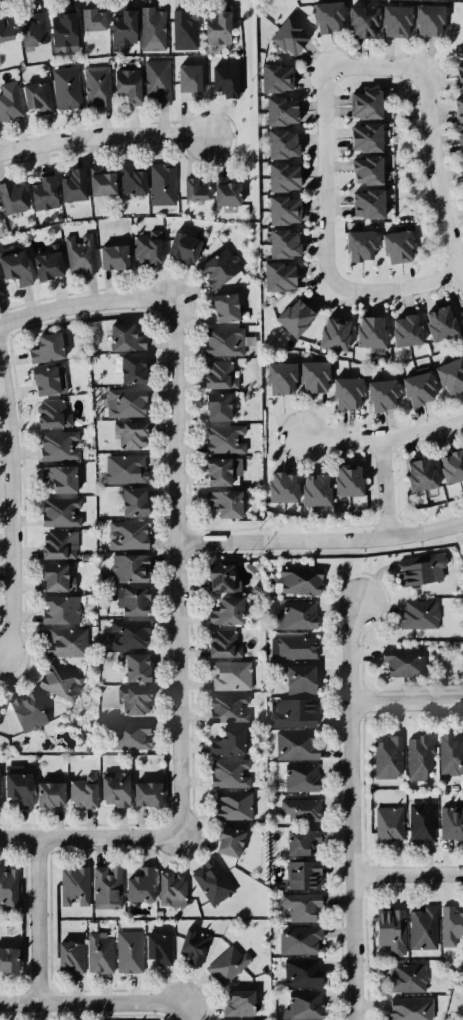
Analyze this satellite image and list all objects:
building: (323, 16)
building: (358, 18)
building: (391, 19)
building: (424, 19)
building: (89, 20)
building: (119, 26)
building: (4, 28)
building: (29, 29)
building: (59, 29)
building: (150, 29)
building: (185, 29)
building: (219, 29)
park: (453, 29)
building: (287, 35)
road: (371, 68)
building: (189, 73)
building: (272, 74)
road: (405, 74)
building: (457, 74)
road: (403, 80)
building: (156, 82)
building: (221, 84)
building: (94, 87)
building: (64, 88)
building: (123, 88)
road: (409, 88)
building: (32, 93)
road: (420, 93)
road: (414, 95)
building: (8, 101)
building: (359, 103)
road: (395, 108)
building: (275, 109)
building: (456, 109)
road: (416, 111)
road: (406, 112)
road: (424, 126)
road: (412, 127)
road: (419, 127)
road: (405, 131)
road: (101, 135)
building: (361, 136)
building: (277, 142)
building: (457, 142)
building: (361, 170)
building: (460, 172)
building: (279, 174)
road: (322, 177)
park: (414, 177)
building: (128, 179)
road: (434, 180)
building: (98, 183)
building: (68, 184)
building: (193, 185)
building: (159, 187)
building: (38, 192)
building: (224, 192)
road: (425, 194)
building: (11, 195)
road: (413, 197)
building: (362, 203)
building: (276, 208)
building: (0, 221)
building: (277, 242)
building: (354, 243)
building: (178, 245)
building: (393, 245)
building: (142, 248)
building: (76, 251)
building: (41, 256)
building: (110, 257)
road: (442, 261)
building: (12, 268)
road: (452, 269)
building: (216, 270)
building: (275, 275)
road: (456, 281)
road: (392, 290)
building: (0, 291)
park: (456, 301)
road: (456, 301)
road: (84, 303)
building: (216, 307)
building: (289, 316)
building: (435, 318)
building: (400, 325)
building: (327, 332)
building: (122, 334)
building: (364, 334)
building: (222, 343)
building: (40, 344)
building: (128, 368)
building: (448, 371)
building: (214, 374)
building: (310, 376)
building: (276, 377)
building: (37, 378)
building: (414, 384)
building: (342, 389)
building: (376, 389)
building: (127, 401)
building: (212, 406)
building: (46, 411)
building: (129, 435)
road: (383, 439)
building: (221, 440)
building: (58, 445)
building: (448, 464)
building: (124, 469)
building: (212, 472)
building: (414, 472)
building: (54, 478)
building: (343, 479)
building: (276, 487)
building: (311, 488)
road: (384, 488)
building: (126, 501)
building: (220, 503)
building: (58, 512)
road: (9, 516)
building: (125, 533)
road: (320, 541)
building: (57, 545)
road: (177, 563)
building: (128, 565)
building: (417, 567)
building: (214, 576)
building: (52, 579)
building: (297, 579)
building: (128, 598)
building: (223, 608)
building: (57, 611)
building: (295, 615)
building: (416, 615)
building: (129, 633)
building: (66, 643)
building: (215, 644)
building: (291, 647)
building: (402, 664)
building: (134, 665)
building: (226, 675)
building: (290, 680)
building: (58, 681)
building: (132, 699)
road: (406, 702)
building: (225, 709)
building: (23, 711)
building: (0, 712)
building: (291, 713)
building: (130, 735)
building: (223, 740)
building: (295, 745)
building: (416, 753)
building: (383, 757)
building: (449, 757)
building: (227, 774)
building: (0, 777)
building: (296, 778)
building: (15, 785)
building: (110, 787)
building: (45, 792)
building: (80, 793)
building: (147, 794)
building: (230, 806)
building: (297, 810)
road: (351, 810)
building: (420, 822)
building: (388, 824)
building: (451, 824)
road: (92, 838)
building: (222, 841)
building: (299, 844)
building: (299, 875)
road: (408, 877)
building: (207, 881)
building: (136, 883)
building: (104, 884)
building: (8, 887)
building: (71, 887)
building: (168, 887)
building: (299, 908)
road: (38, 921)
building: (451, 925)
building: (421, 926)
building: (385, 927)
building: (297, 940)
building: (190, 944)
building: (157, 949)
building: (128, 952)
building: (96, 953)
building: (67, 955)
building: (7, 959)
building: (227, 964)
building: (298, 974)
building: (406, 974)
building: (234, 1003)
road: (92, 1004)
building: (301, 1006)
building: (408, 1007)
road: (186, 1012)
building: (133, 1018)

